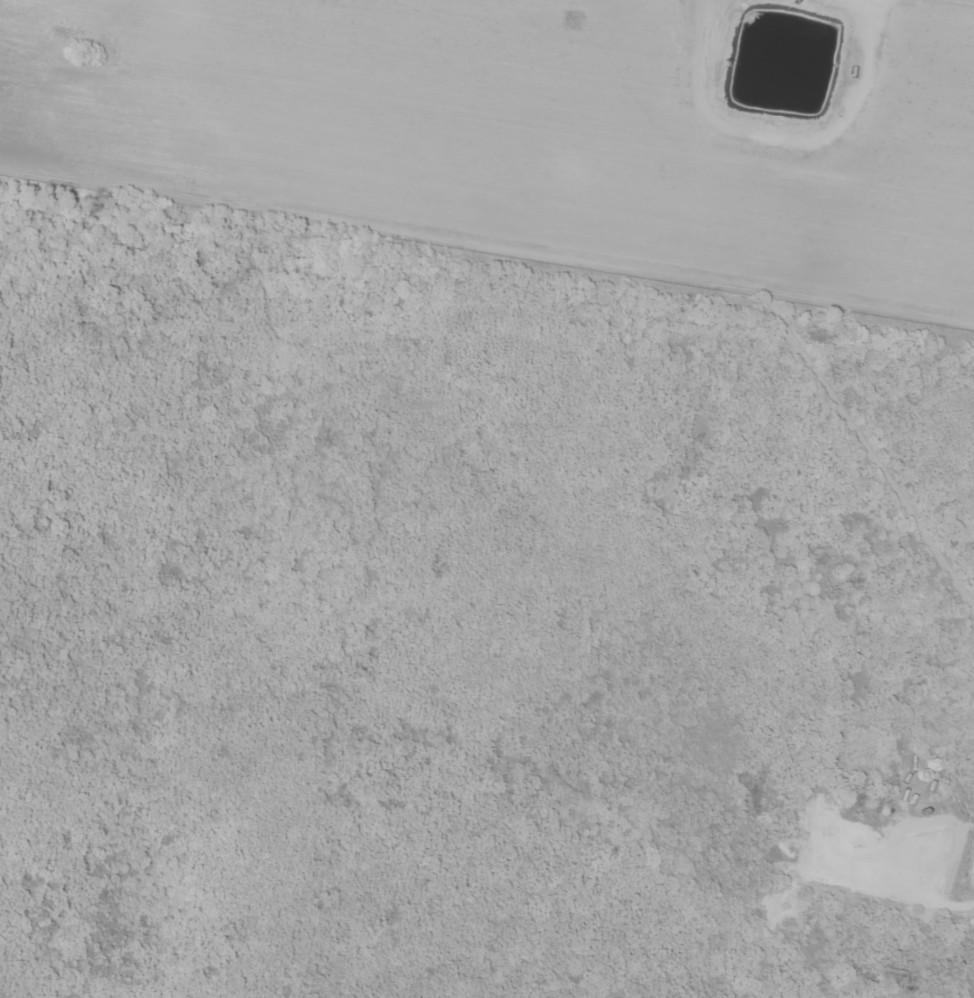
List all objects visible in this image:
road: (347, 659)
road: (600, 824)
road: (414, 949)

